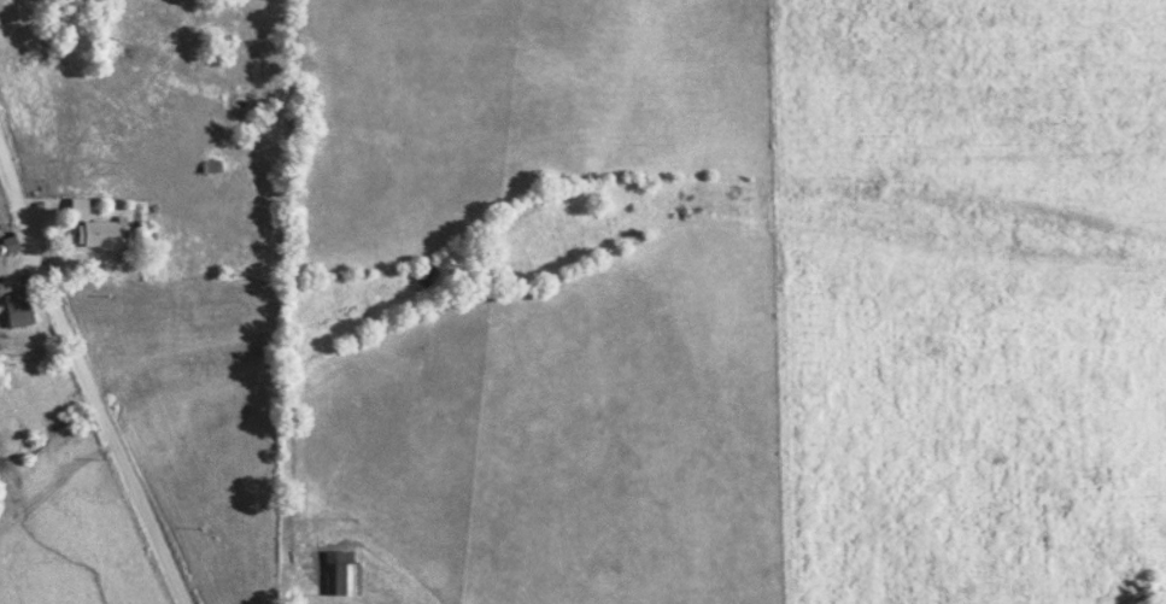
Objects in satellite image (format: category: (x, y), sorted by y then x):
building: (100, 234)
road: (20, 265)
building: (17, 310)
road: (87, 379)
building: (341, 574)

